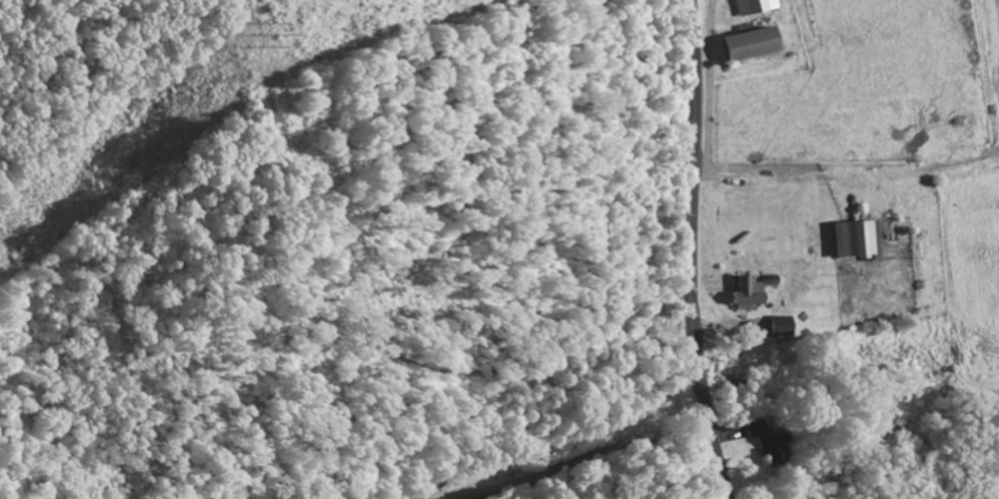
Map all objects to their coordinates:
building: (756, 8)
building: (755, 46)
building: (856, 242)
building: (811, 244)
road: (692, 250)
building: (748, 294)
building: (779, 328)
building: (763, 443)
road: (585, 458)

